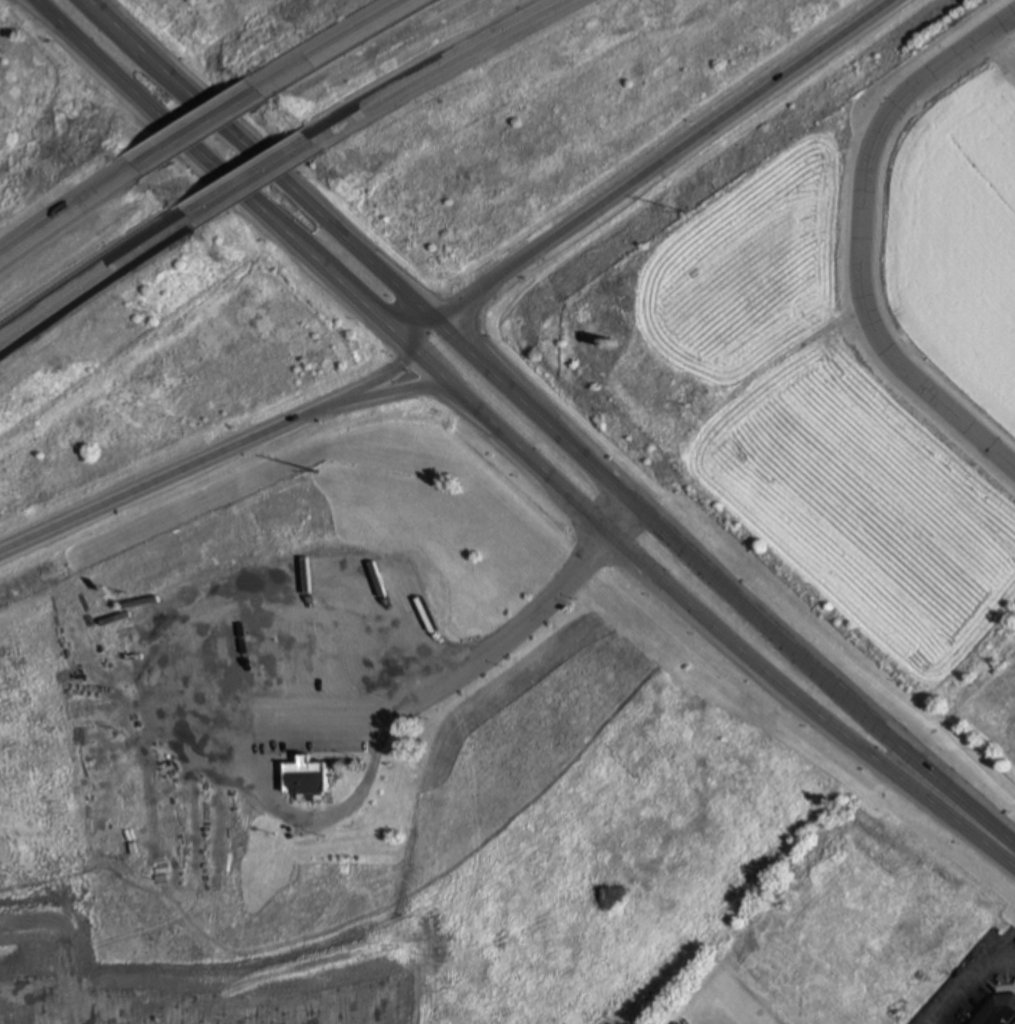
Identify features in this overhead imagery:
road: (365, 34)
road: (449, 72)
road: (218, 121)
road: (272, 165)
road: (656, 173)
road: (216, 179)
road: (249, 184)
road: (67, 216)
road: (862, 240)
road: (94, 279)
road: (397, 375)
road: (410, 387)
road: (189, 476)
road: (730, 588)
road: (702, 623)
road: (499, 646)
building: (302, 778)
road: (972, 984)
building: (997, 1010)

